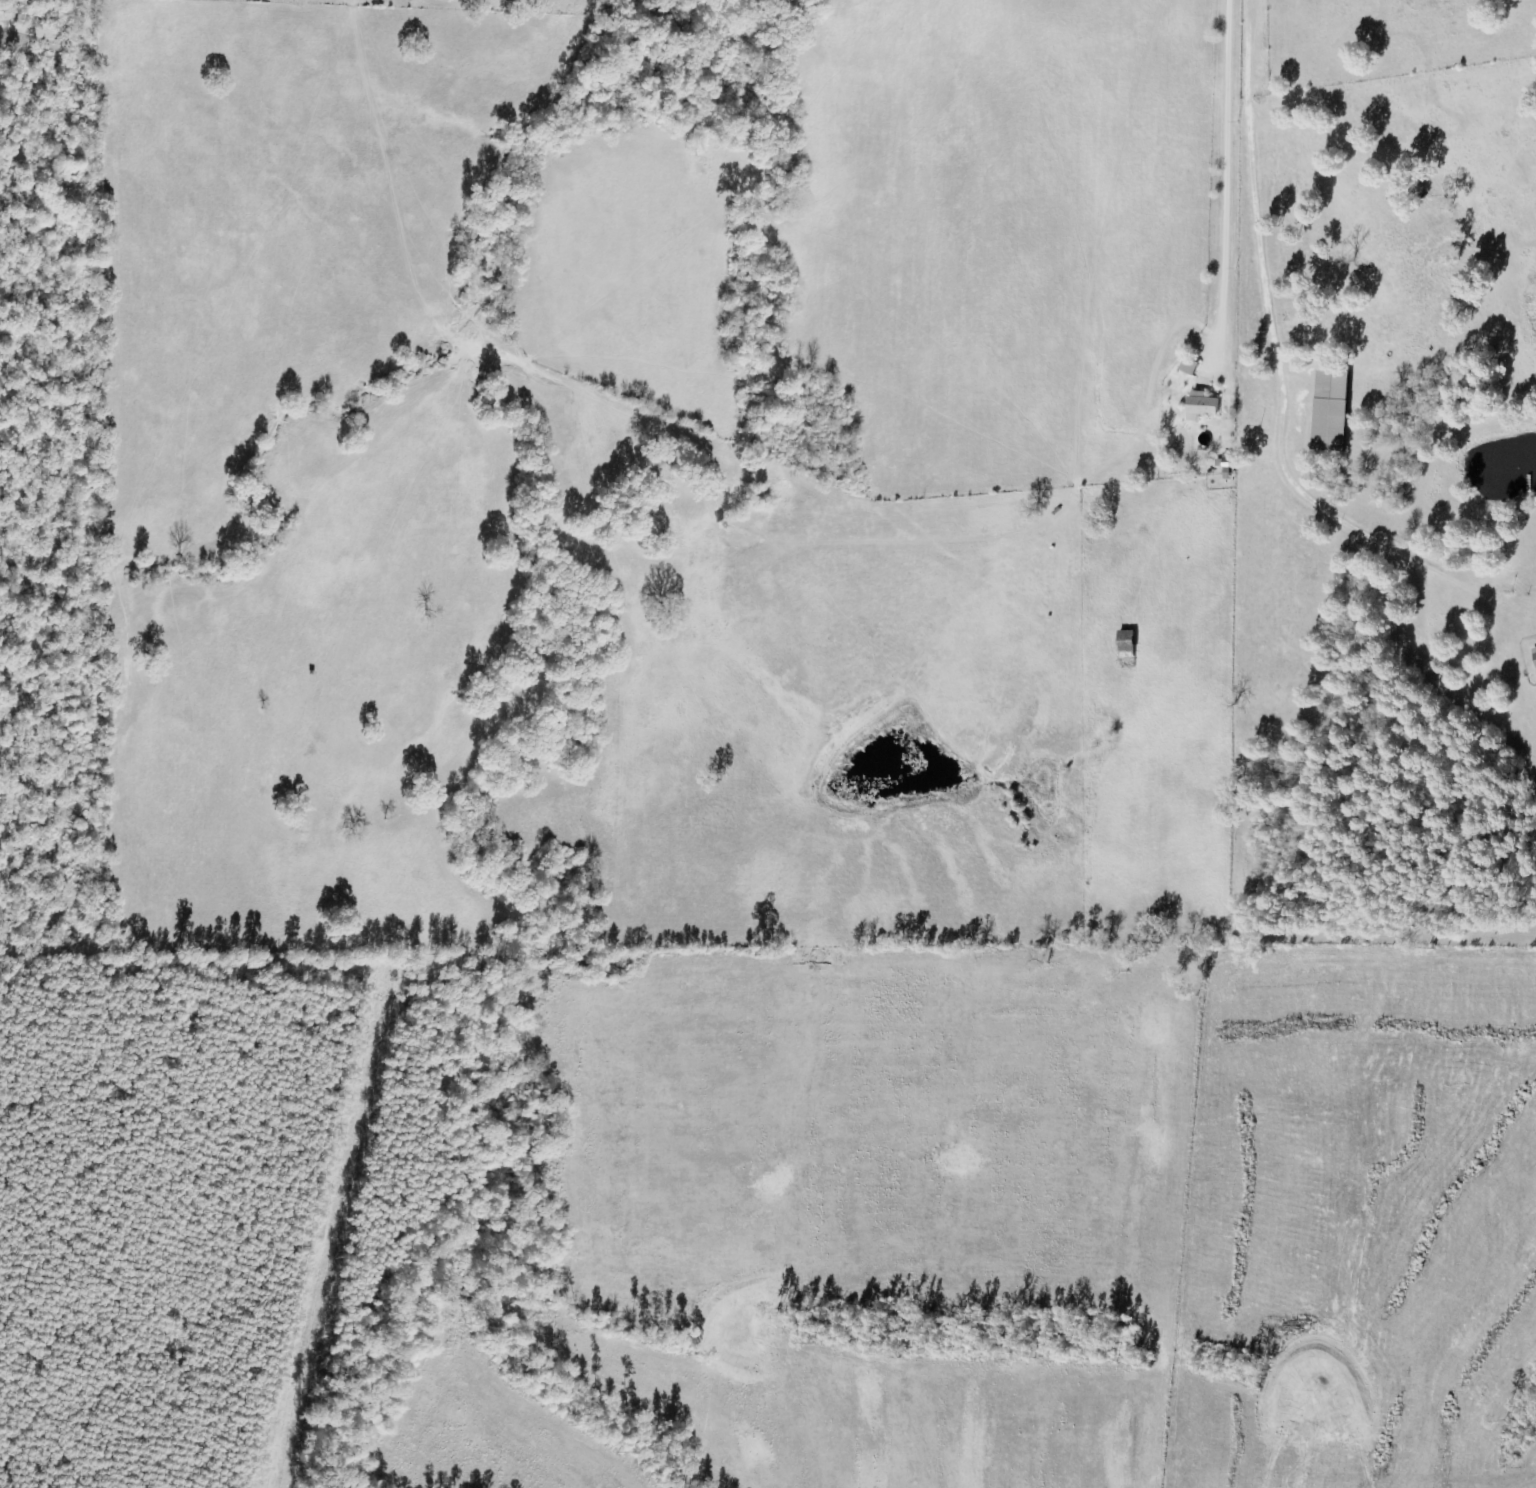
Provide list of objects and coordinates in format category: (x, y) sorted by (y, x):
road: (1222, 219)
building: (1190, 366)
building: (1201, 406)
building: (1329, 410)
building: (1126, 643)
building: (1533, 658)

